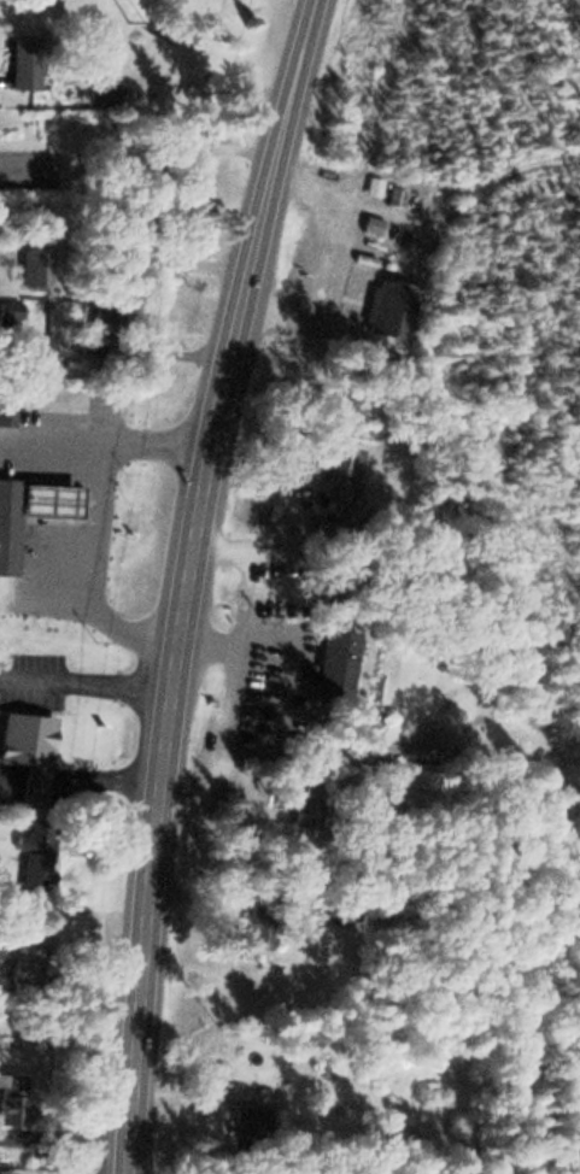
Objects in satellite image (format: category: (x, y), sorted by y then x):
building: (29, 2)
building: (101, 92)
building: (391, 263)
building: (31, 265)
building: (385, 307)
building: (8, 312)
building: (98, 329)
building: (6, 410)
building: (334, 472)
building: (43, 499)
building: (7, 521)
road: (184, 581)
building: (329, 659)
building: (23, 756)
building: (1, 792)
building: (285, 793)
building: (31, 862)
building: (336, 908)
building: (25, 944)
building: (7, 1098)
building: (247, 1123)
building: (4, 1170)
building: (406, 1172)

